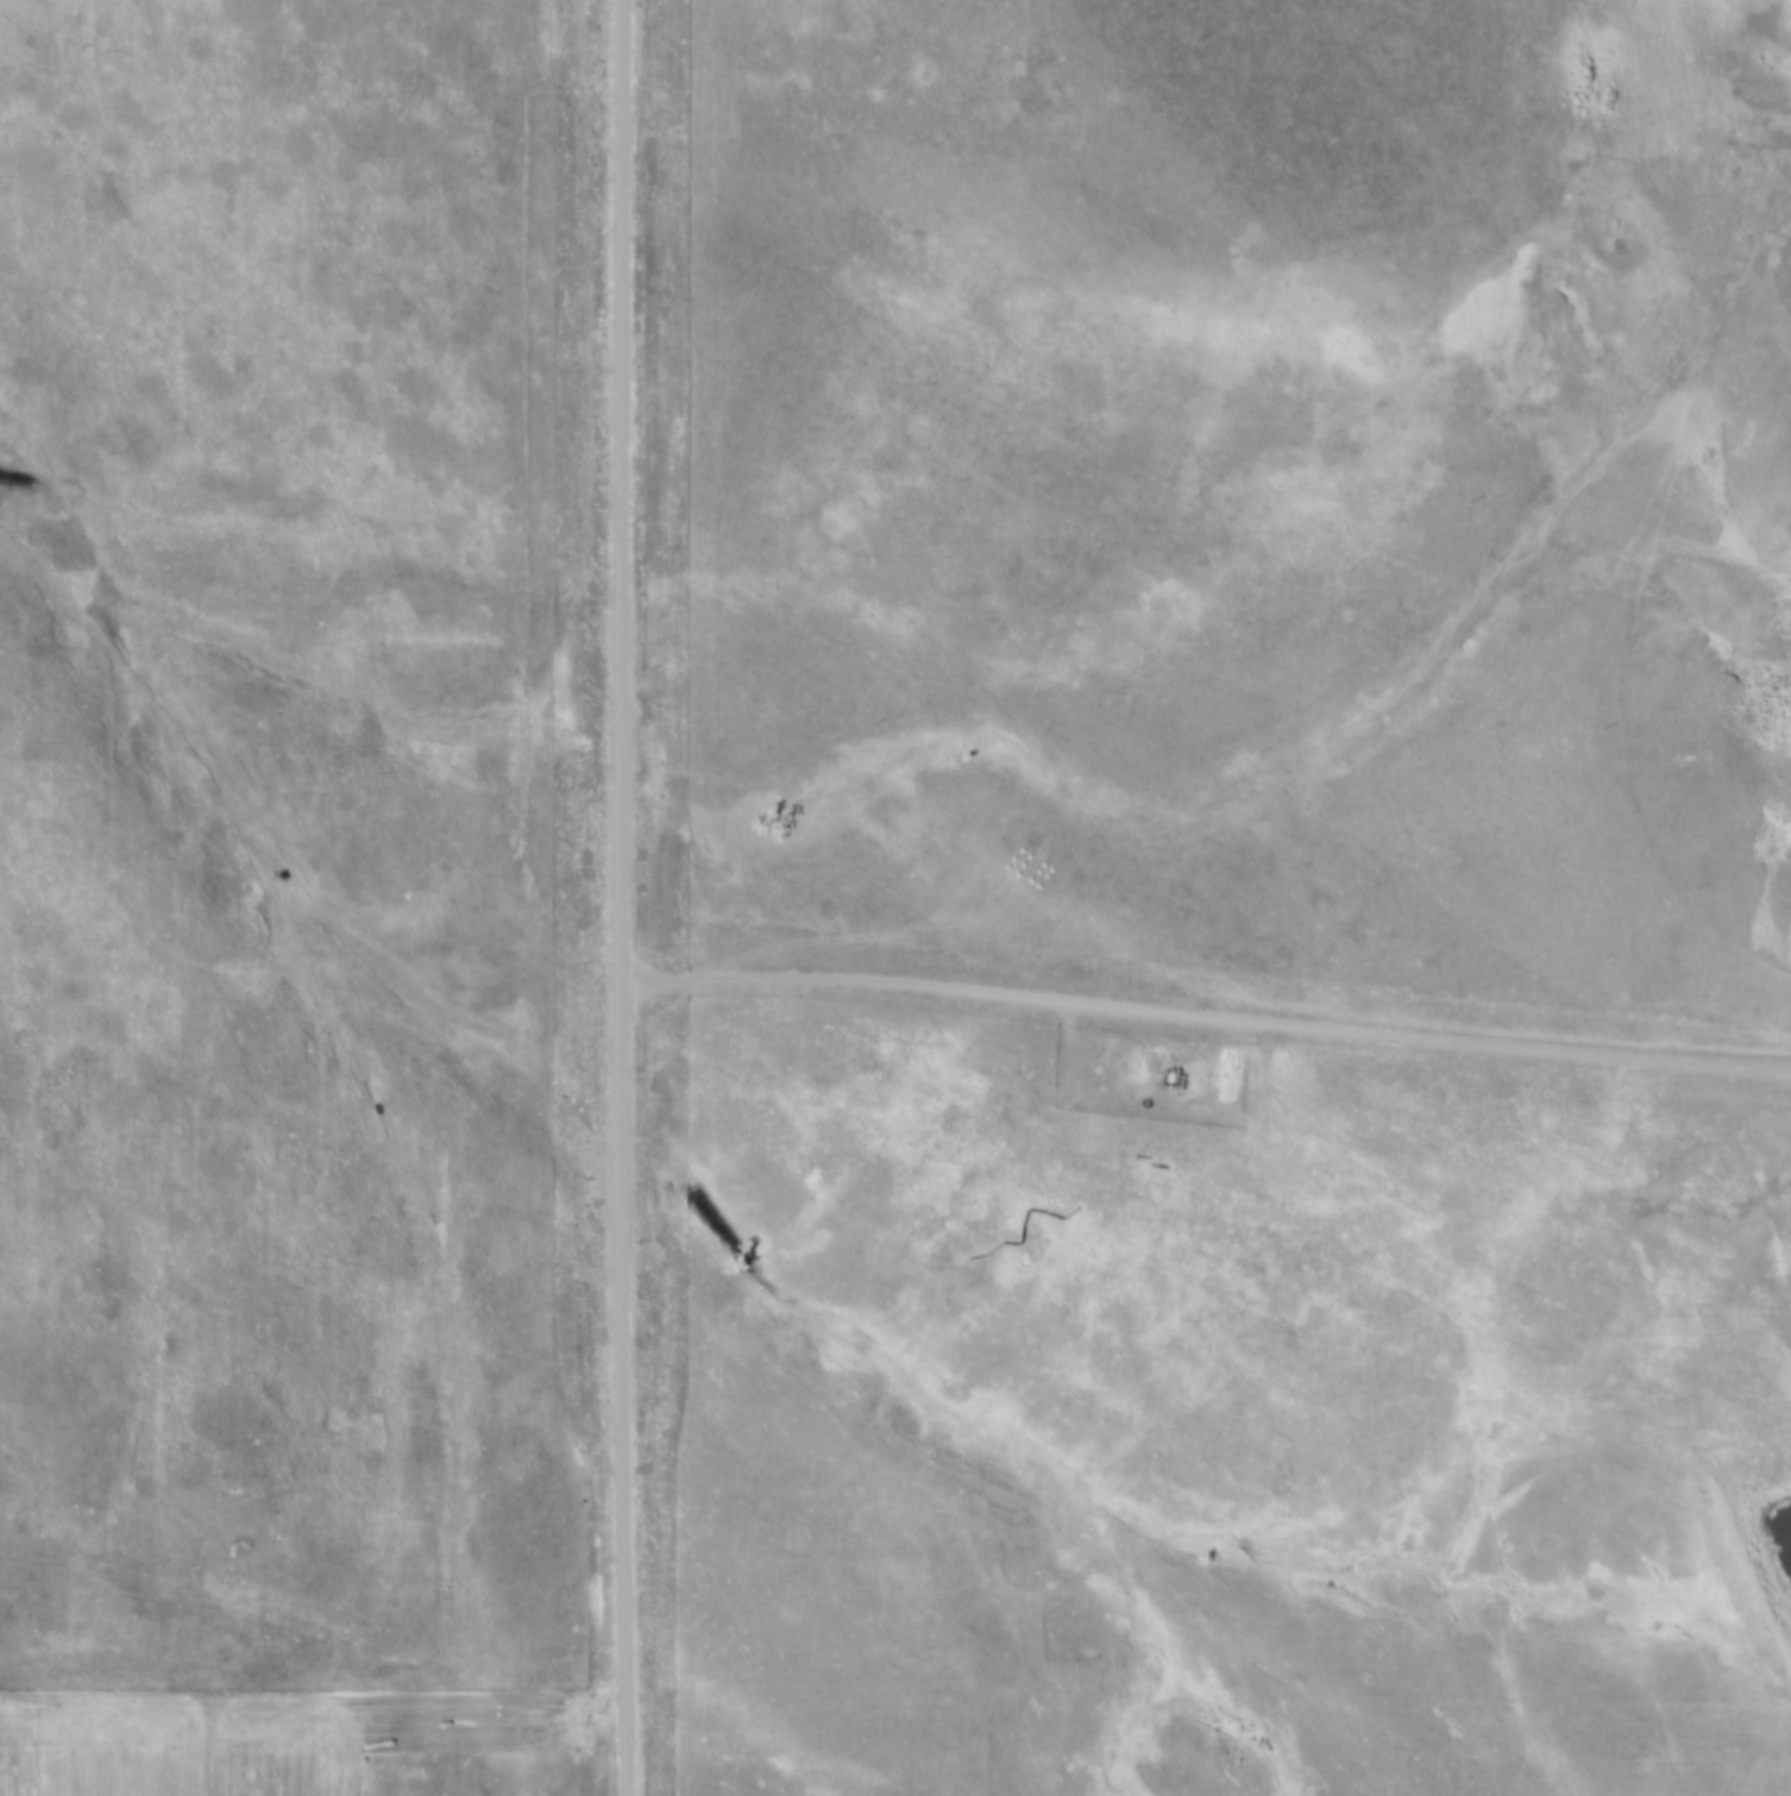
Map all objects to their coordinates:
road: (617, 898)
road: (1204, 1022)
dam: (1740, 1564)

